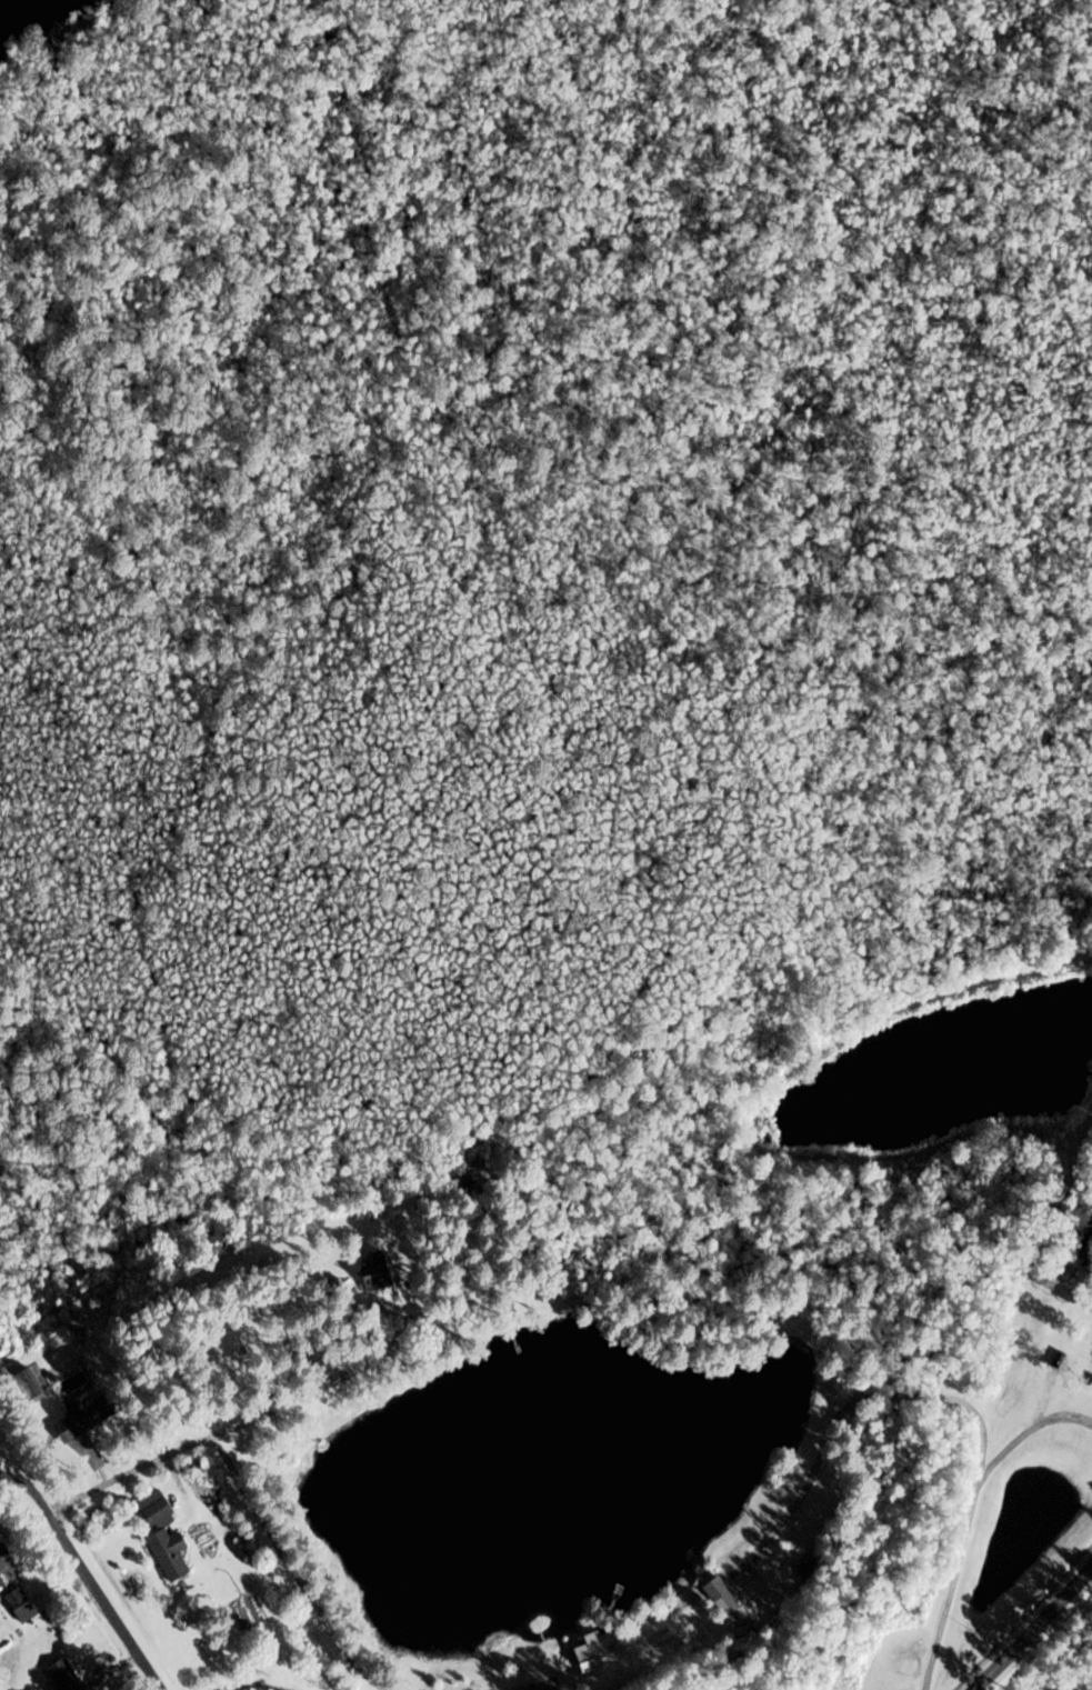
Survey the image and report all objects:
building: (474, 1167)
building: (378, 1274)
building: (34, 1380)
road: (954, 1399)
building: (88, 1414)
road: (1023, 1431)
road: (220, 1434)
building: (163, 1536)
building: (4, 1557)
road: (290, 1569)
road: (86, 1577)
building: (1, 1581)
building: (722, 1597)
building: (21, 1601)
road: (1031, 1626)
building: (592, 1660)
building: (63, 1677)
road: (537, 1686)

